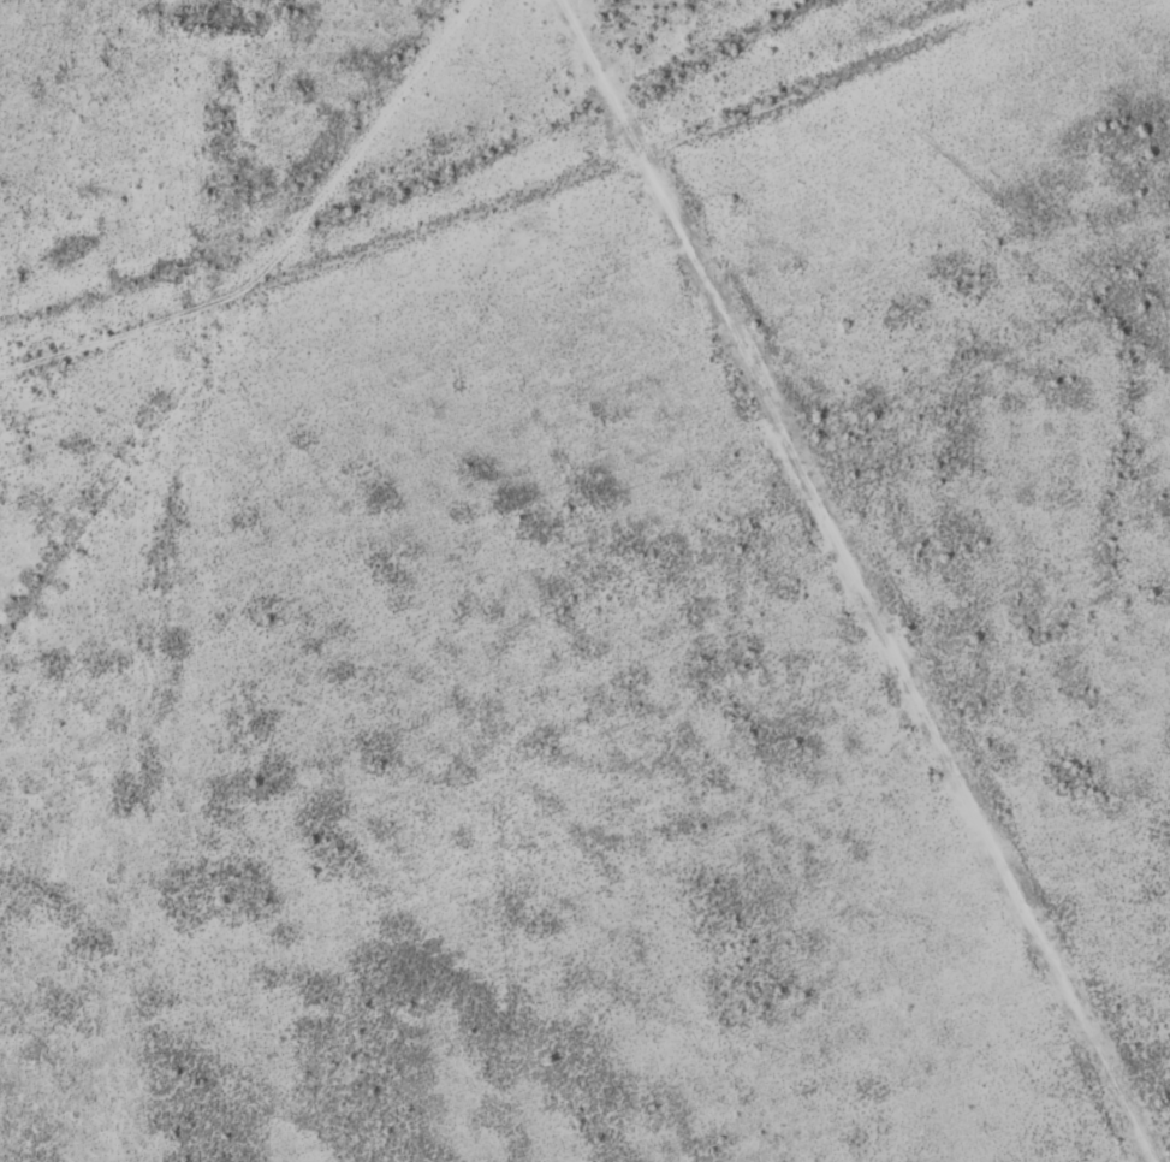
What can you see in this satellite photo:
road: (512, 204)

